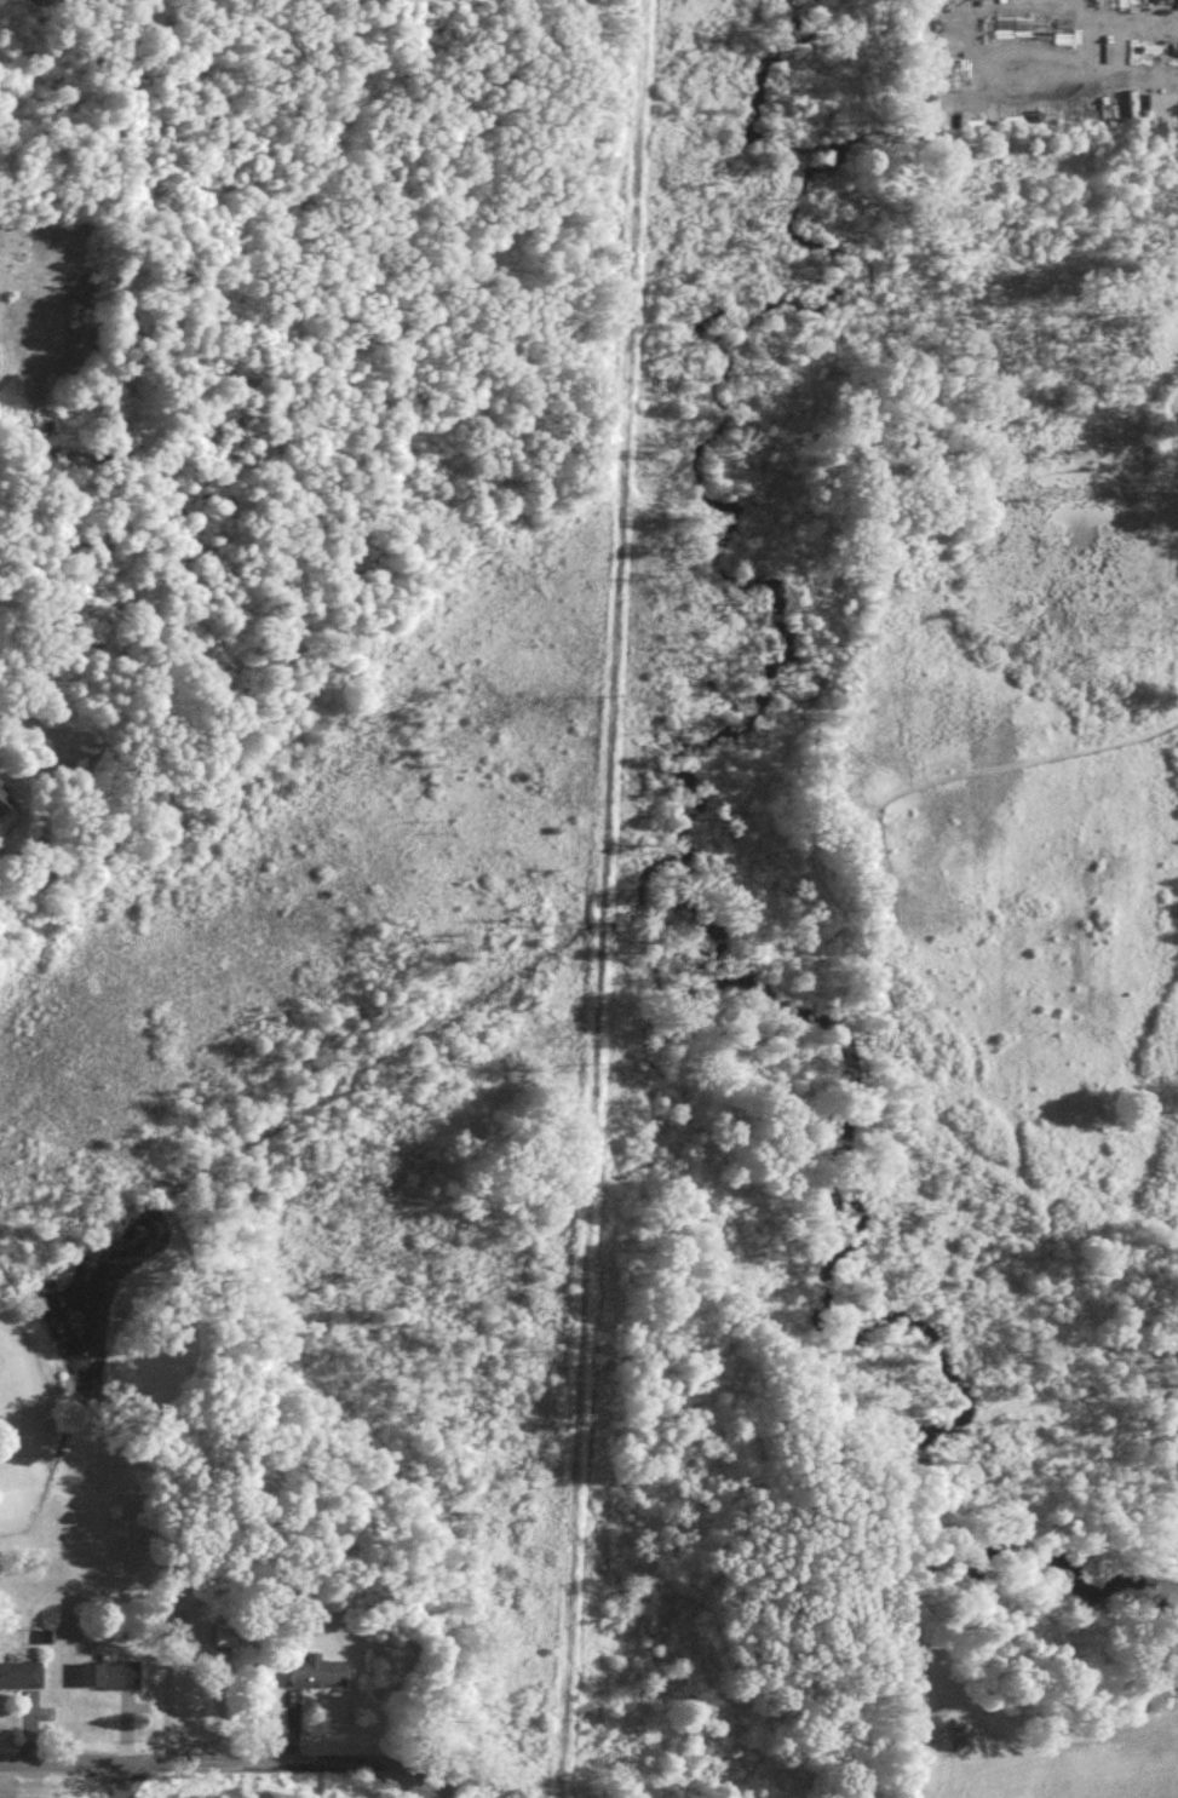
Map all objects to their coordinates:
road: (1114, 25)
road: (1096, 51)
road: (1034, 76)
building: (1163, 116)
building: (0, 786)
building: (4, 808)
building: (237, 1643)
building: (318, 1678)
building: (108, 1681)
building: (21, 1682)
road: (224, 1771)
road: (127, 1785)

